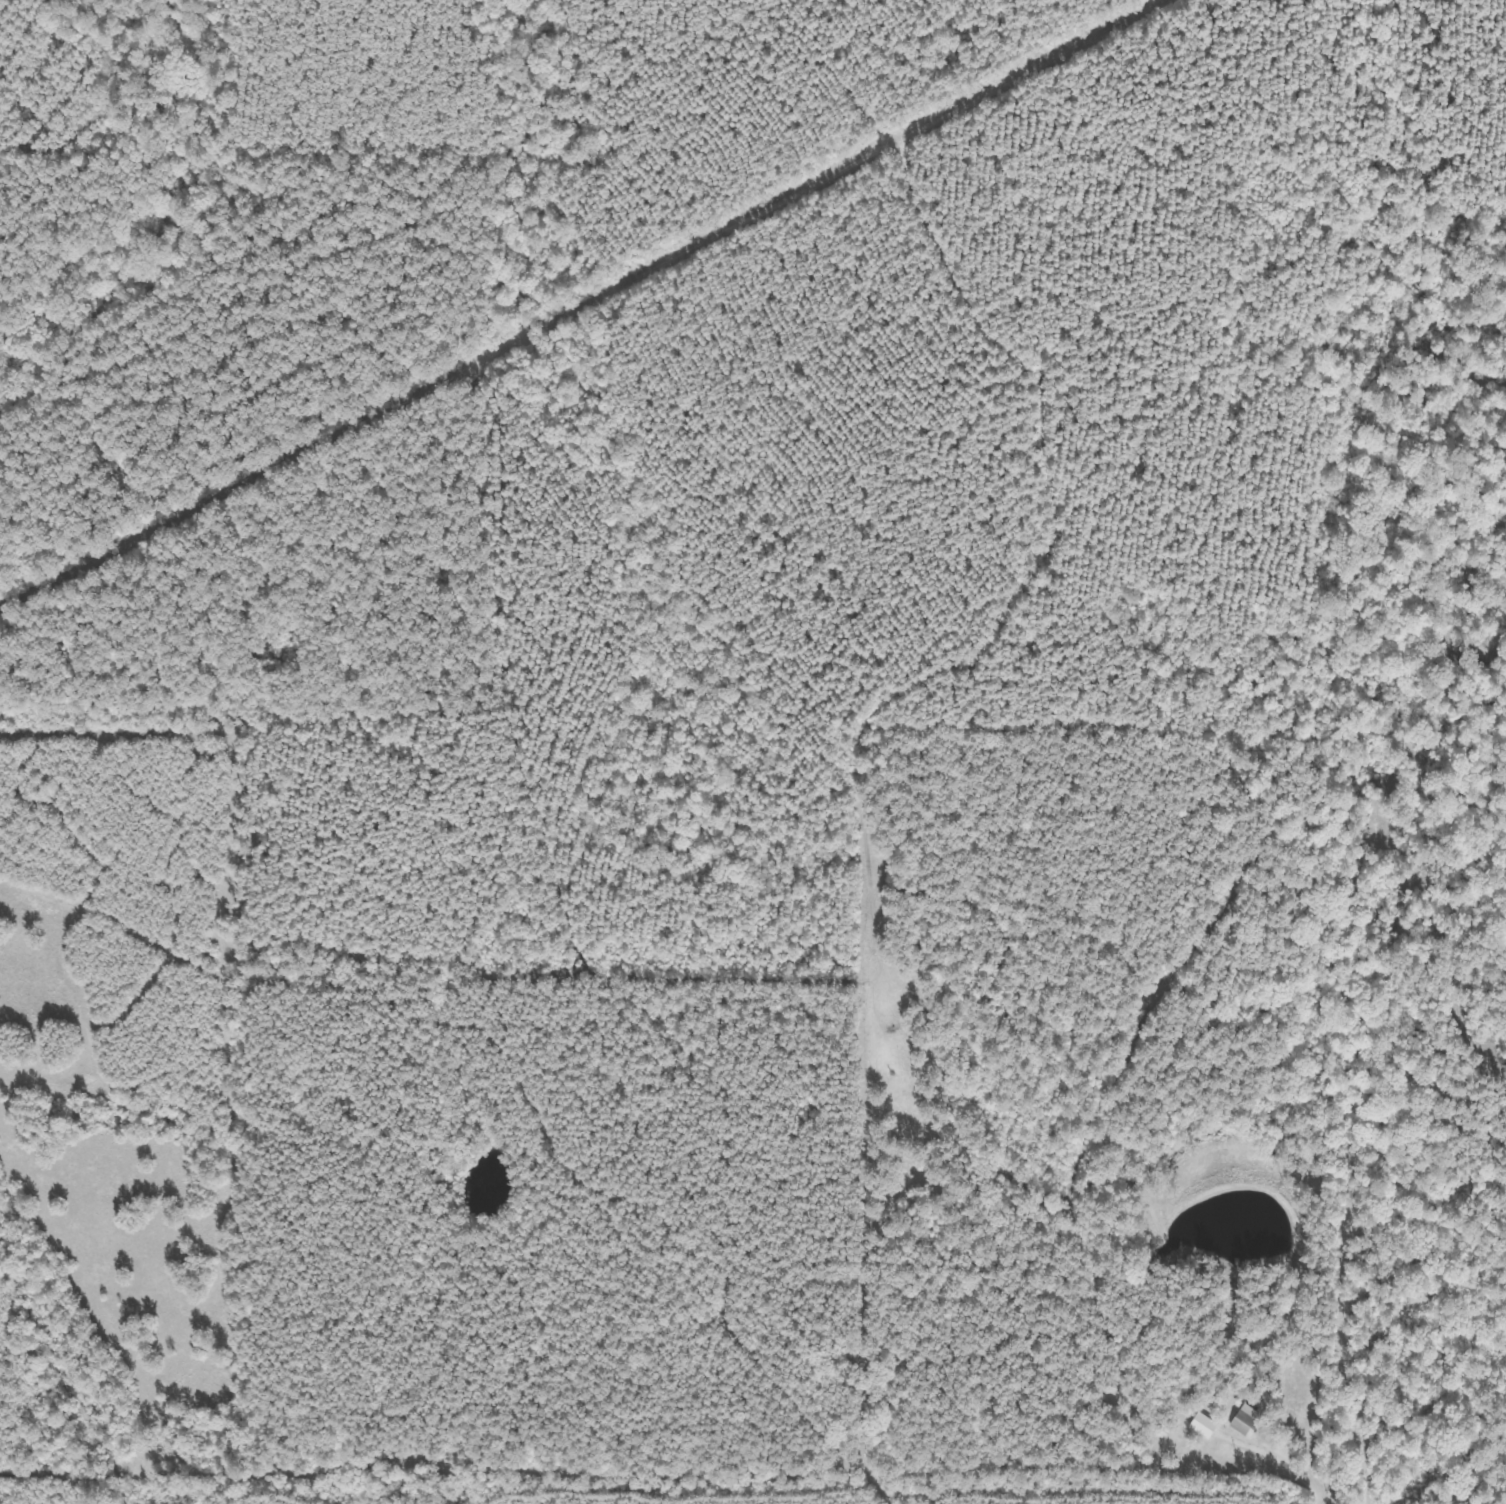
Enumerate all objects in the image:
building: (1239, 1422)

